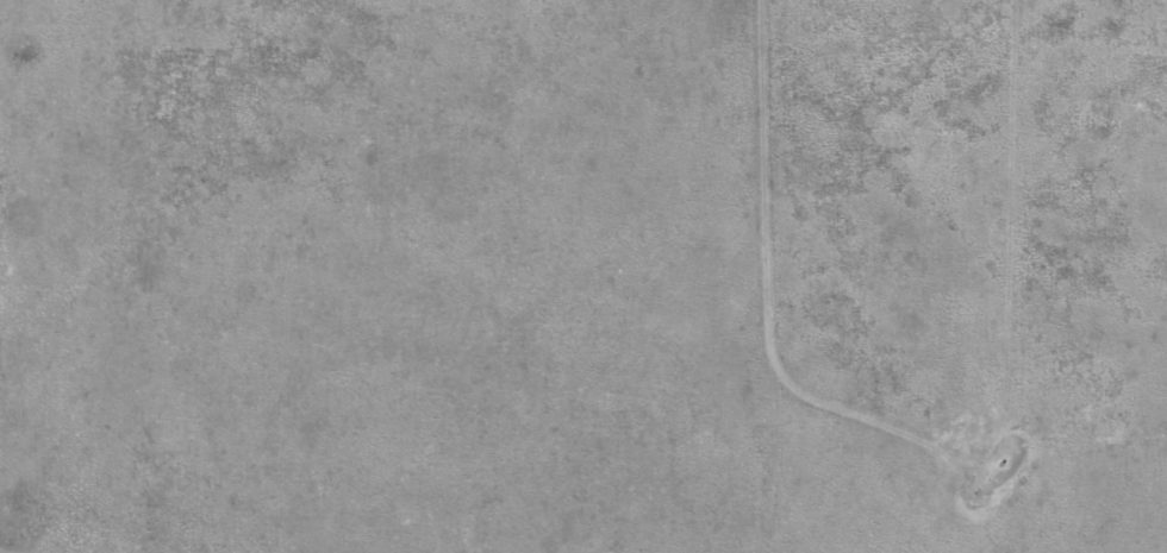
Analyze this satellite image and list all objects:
road: (732, 281)

